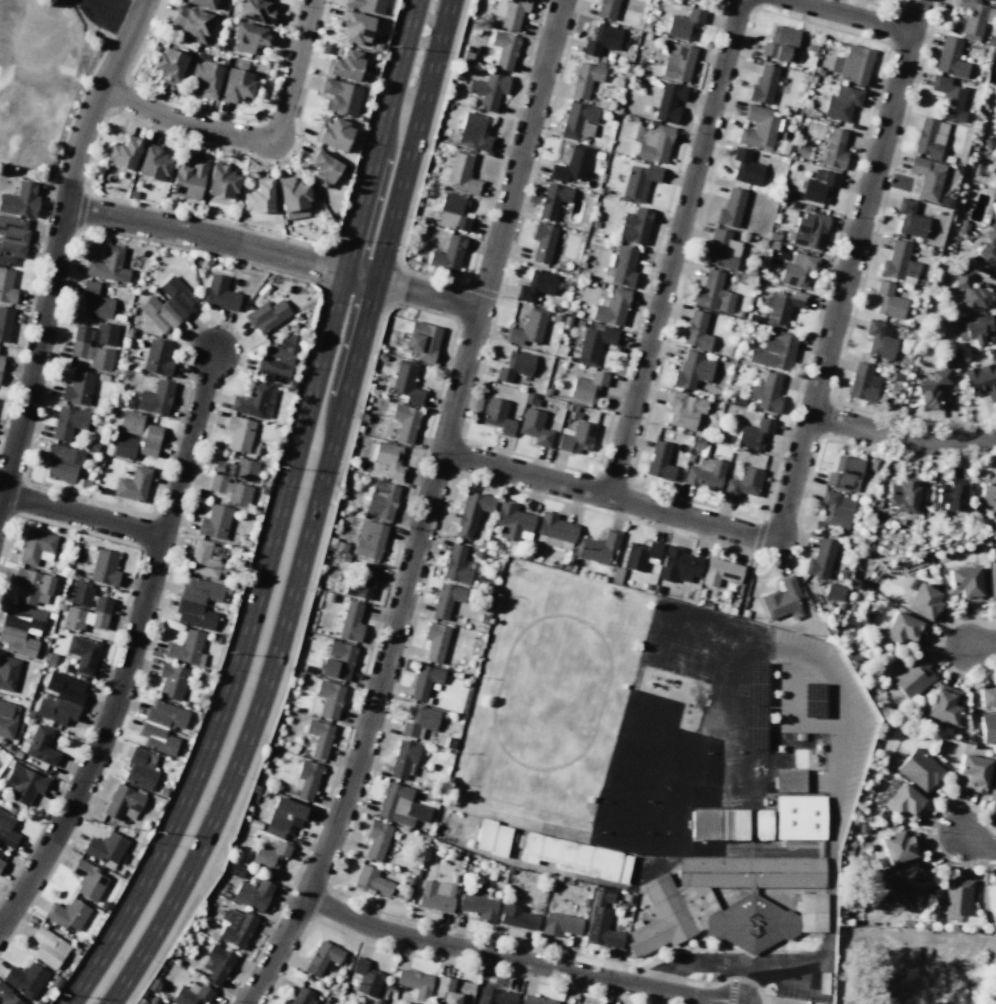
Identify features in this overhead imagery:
building: (694, 0)
building: (201, 3)
building: (366, 5)
building: (606, 8)
building: (256, 11)
building: (510, 12)
road: (849, 16)
building: (973, 17)
road: (110, 18)
building: (191, 23)
building: (684, 24)
building: (355, 27)
building: (247, 37)
building: (601, 39)
building: (779, 42)
building: (504, 50)
building: (950, 58)
building: (678, 62)
building: (169, 64)
building: (852, 64)
building: (345, 65)
building: (205, 78)
building: (584, 79)
building: (235, 85)
building: (763, 85)
building: (488, 90)
building: (340, 97)
building: (948, 98)
building: (668, 102)
building: (841, 103)
building: (578, 121)
building: (757, 128)
building: (474, 132)
building: (333, 134)
building: (929, 138)
road: (255, 140)
building: (654, 144)
building: (834, 149)
building: (122, 153)
building: (153, 164)
building: (571, 164)
building: (746, 167)
building: (322, 168)
building: (460, 173)
building: (927, 177)
building: (188, 178)
building: (221, 181)
building: (638, 181)
building: (819, 186)
building: (258, 196)
building: (292, 198)
building: (20, 200)
building: (552, 200)
building: (730, 208)
building: (452, 212)
building: (910, 219)
building: (634, 226)
building: (808, 230)
building: (12, 239)
building: (542, 241)
road: (58, 244)
road: (677, 248)
building: (721, 249)
building: (988, 250)
road: (274, 254)
building: (447, 254)
building: (898, 263)
building: (108, 265)
building: (624, 266)
building: (797, 270)
road: (849, 271)
building: (6, 286)
building: (535, 286)
building: (971, 291)
building: (713, 292)
building: (219, 293)
building: (888, 301)
building: (94, 302)
building: (168, 305)
building: (782, 305)
building: (611, 307)
building: (267, 315)
building: (5, 323)
building: (528, 327)
building: (975, 328)
building: (696, 330)
building: (422, 340)
building: (878, 340)
building: (594, 342)
building: (85, 348)
building: (773, 351)
building: (157, 357)
building: (277, 358)
building: (1, 361)
building: (514, 366)
building: (691, 370)
building: (981, 381)
building: (406, 383)
building: (863, 383)
building: (587, 386)
building: (77, 388)
building: (932, 389)
building: (767, 393)
building: (155, 398)
building: (254, 401)
building: (684, 409)
building: (498, 416)
building: (67, 422)
building: (404, 422)
road: (846, 422)
building: (534, 427)
building: (238, 433)
building: (754, 434)
building: (577, 438)
road: (952, 443)
building: (123, 447)
building: (64, 453)
building: (388, 460)
building: (659, 461)
building: (60, 471)
building: (844, 473)
building: (704, 474)
building: (233, 480)
building: (743, 482)
building: (132, 484)
building: (988, 490)
building: (951, 494)
road: (608, 496)
building: (902, 496)
building: (381, 499)
road: (428, 509)
building: (836, 509)
building: (471, 512)
road: (312, 514)
road: (279, 516)
road: (81, 519)
building: (214, 522)
building: (512, 522)
building: (555, 528)
building: (369, 539)
building: (36, 547)
building: (597, 547)
building: (641, 555)
building: (820, 558)
building: (201, 559)
building: (455, 565)
building: (678, 565)
building: (103, 567)
building: (720, 572)
building: (362, 580)
building: (965, 583)
building: (991, 583)
building: (31, 587)
building: (832, 590)
building: (80, 594)
building: (781, 598)
building: (445, 599)
building: (923, 601)
building: (197, 602)
building: (87, 615)
building: (350, 621)
building: (902, 629)
building: (20, 630)
building: (435, 641)
road: (981, 647)
building: (186, 648)
road: (133, 650)
building: (83, 654)
building: (337, 661)
building: (8, 673)
building: (912, 677)
building: (171, 681)
building: (424, 681)
building: (987, 697)
building: (59, 698)
building: (329, 699)
road: (793, 704)
building: (944, 704)
building: (166, 714)
building: (7, 718)
building: (419, 722)
building: (988, 727)
building: (156, 738)
building: (319, 738)
building: (41, 746)
building: (404, 759)
building: (140, 768)
building: (919, 770)
building: (973, 772)
building: (306, 779)
building: (789, 780)
building: (23, 784)
building: (992, 786)
building: (123, 802)
building: (905, 803)
building: (400, 805)
building: (284, 817)
building: (799, 817)
building: (710, 824)
building: (739, 824)
building: (763, 824)
building: (7, 829)
building: (484, 834)
building: (376, 839)
road: (978, 839)
building: (499, 841)
road: (830, 844)
building: (105, 847)
building: (896, 847)
building: (571, 854)
building: (269, 856)
building: (1, 862)
building: (750, 871)
building: (88, 880)
building: (371, 881)
building: (905, 882)
building: (252, 894)
building: (995, 894)
building: (435, 895)
building: (956, 896)
building: (477, 904)
building: (811, 912)
building: (67, 914)
building: (516, 917)
building: (660, 918)
building: (601, 921)
building: (749, 923)
building: (560, 924)
building: (235, 928)
building: (47, 947)
building: (322, 957)
road: (519, 959)
road: (722, 964)
building: (216, 965)
building: (365, 977)
building: (25, 979)
building: (414, 983)
building: (452, 991)
building: (191, 994)
building: (495, 996)
building: (8, 997)
building: (301, 997)
building: (535, 1000)

